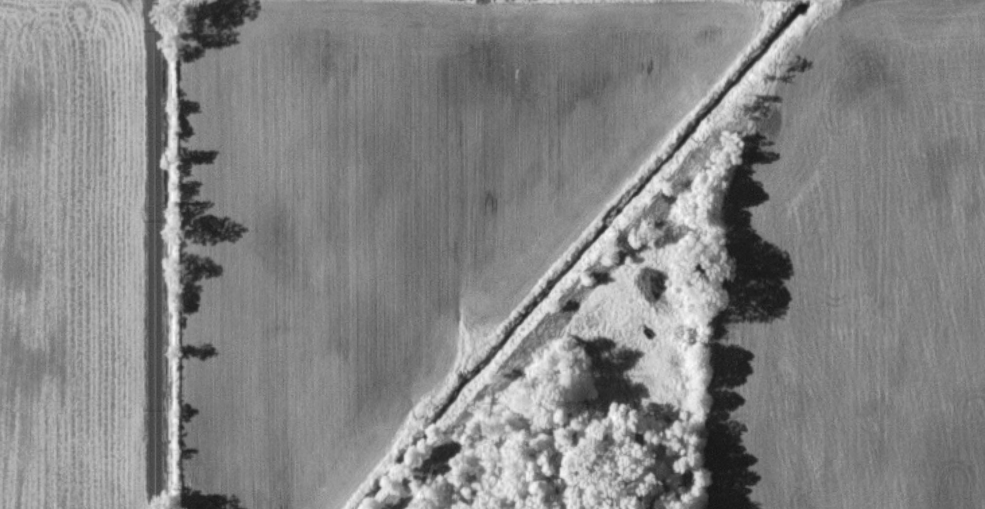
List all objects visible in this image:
road: (154, 254)

